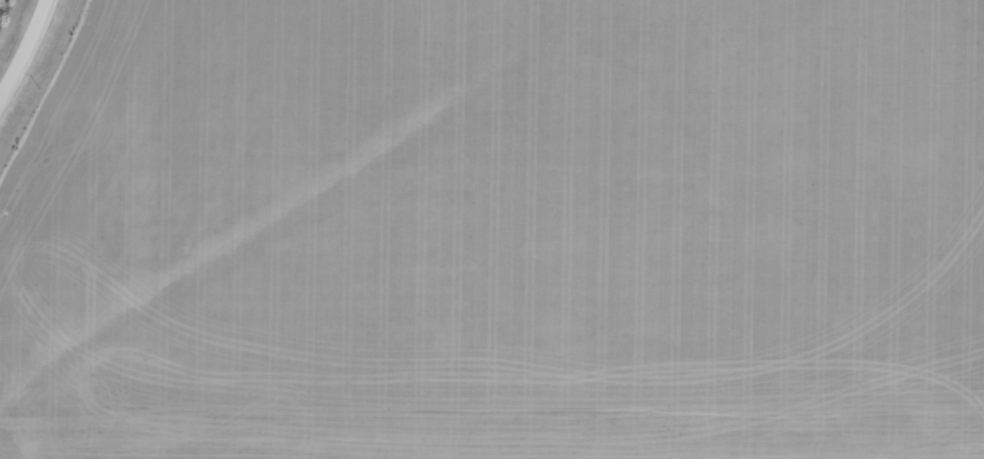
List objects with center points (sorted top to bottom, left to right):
road: (28, 53)

